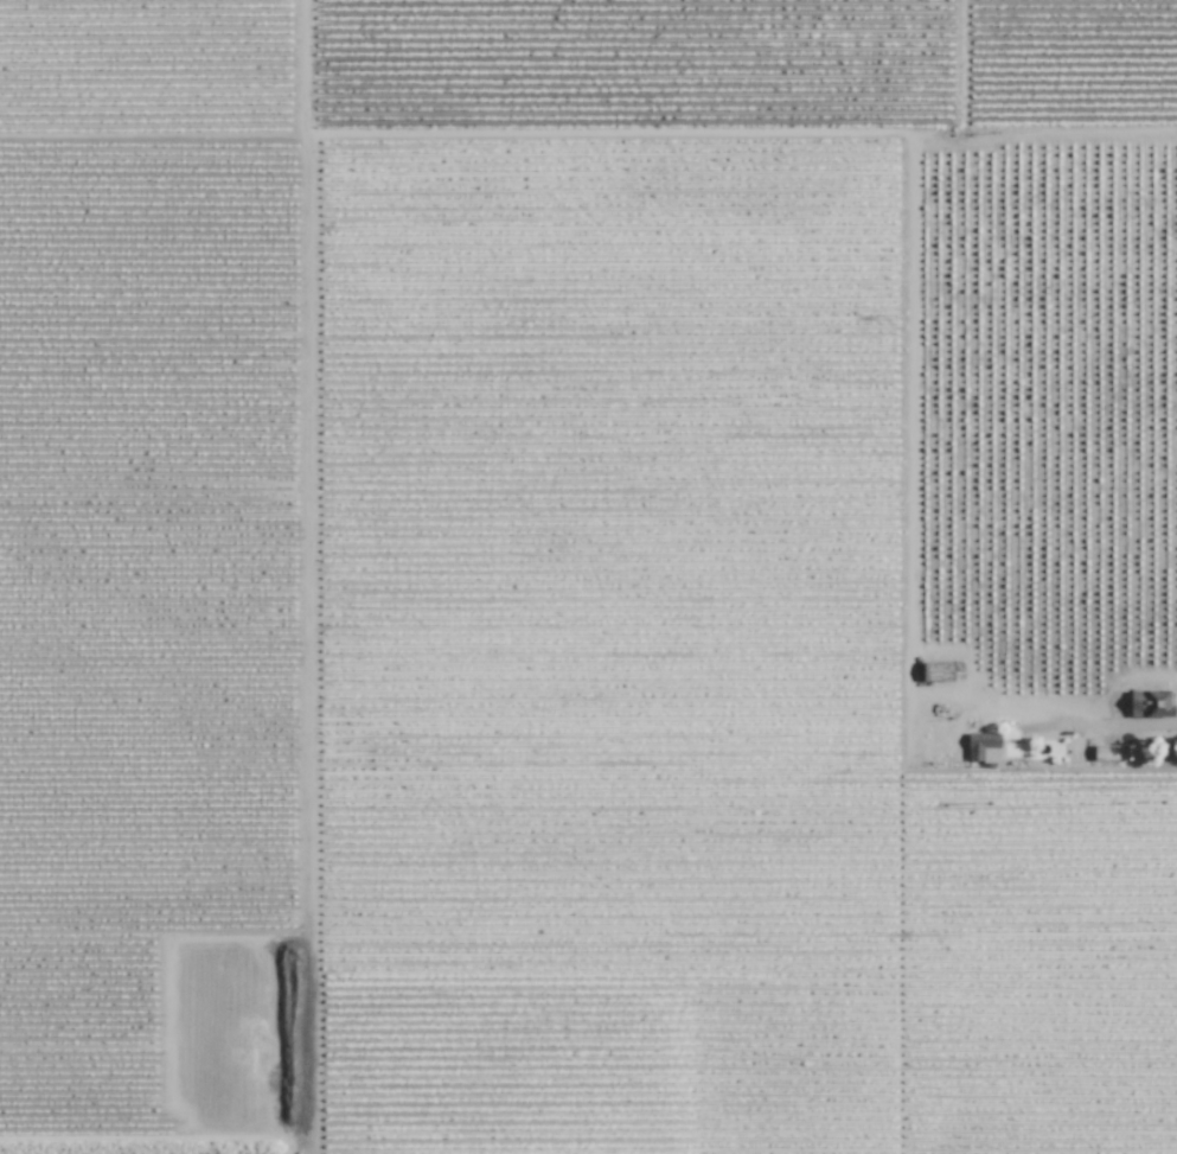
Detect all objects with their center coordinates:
road: (308, 576)
building: (938, 671)
road: (1130, 681)
building: (1151, 703)
road: (1045, 710)
building: (984, 747)
building: (1111, 752)
crop: (73, 1153)

